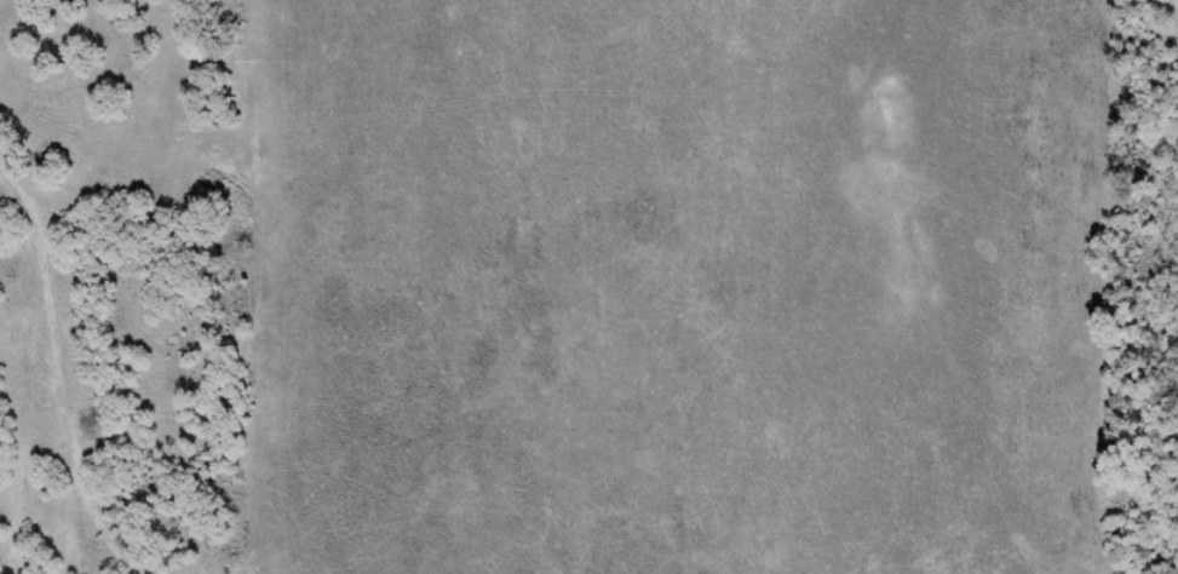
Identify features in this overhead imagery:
road: (34, 446)

